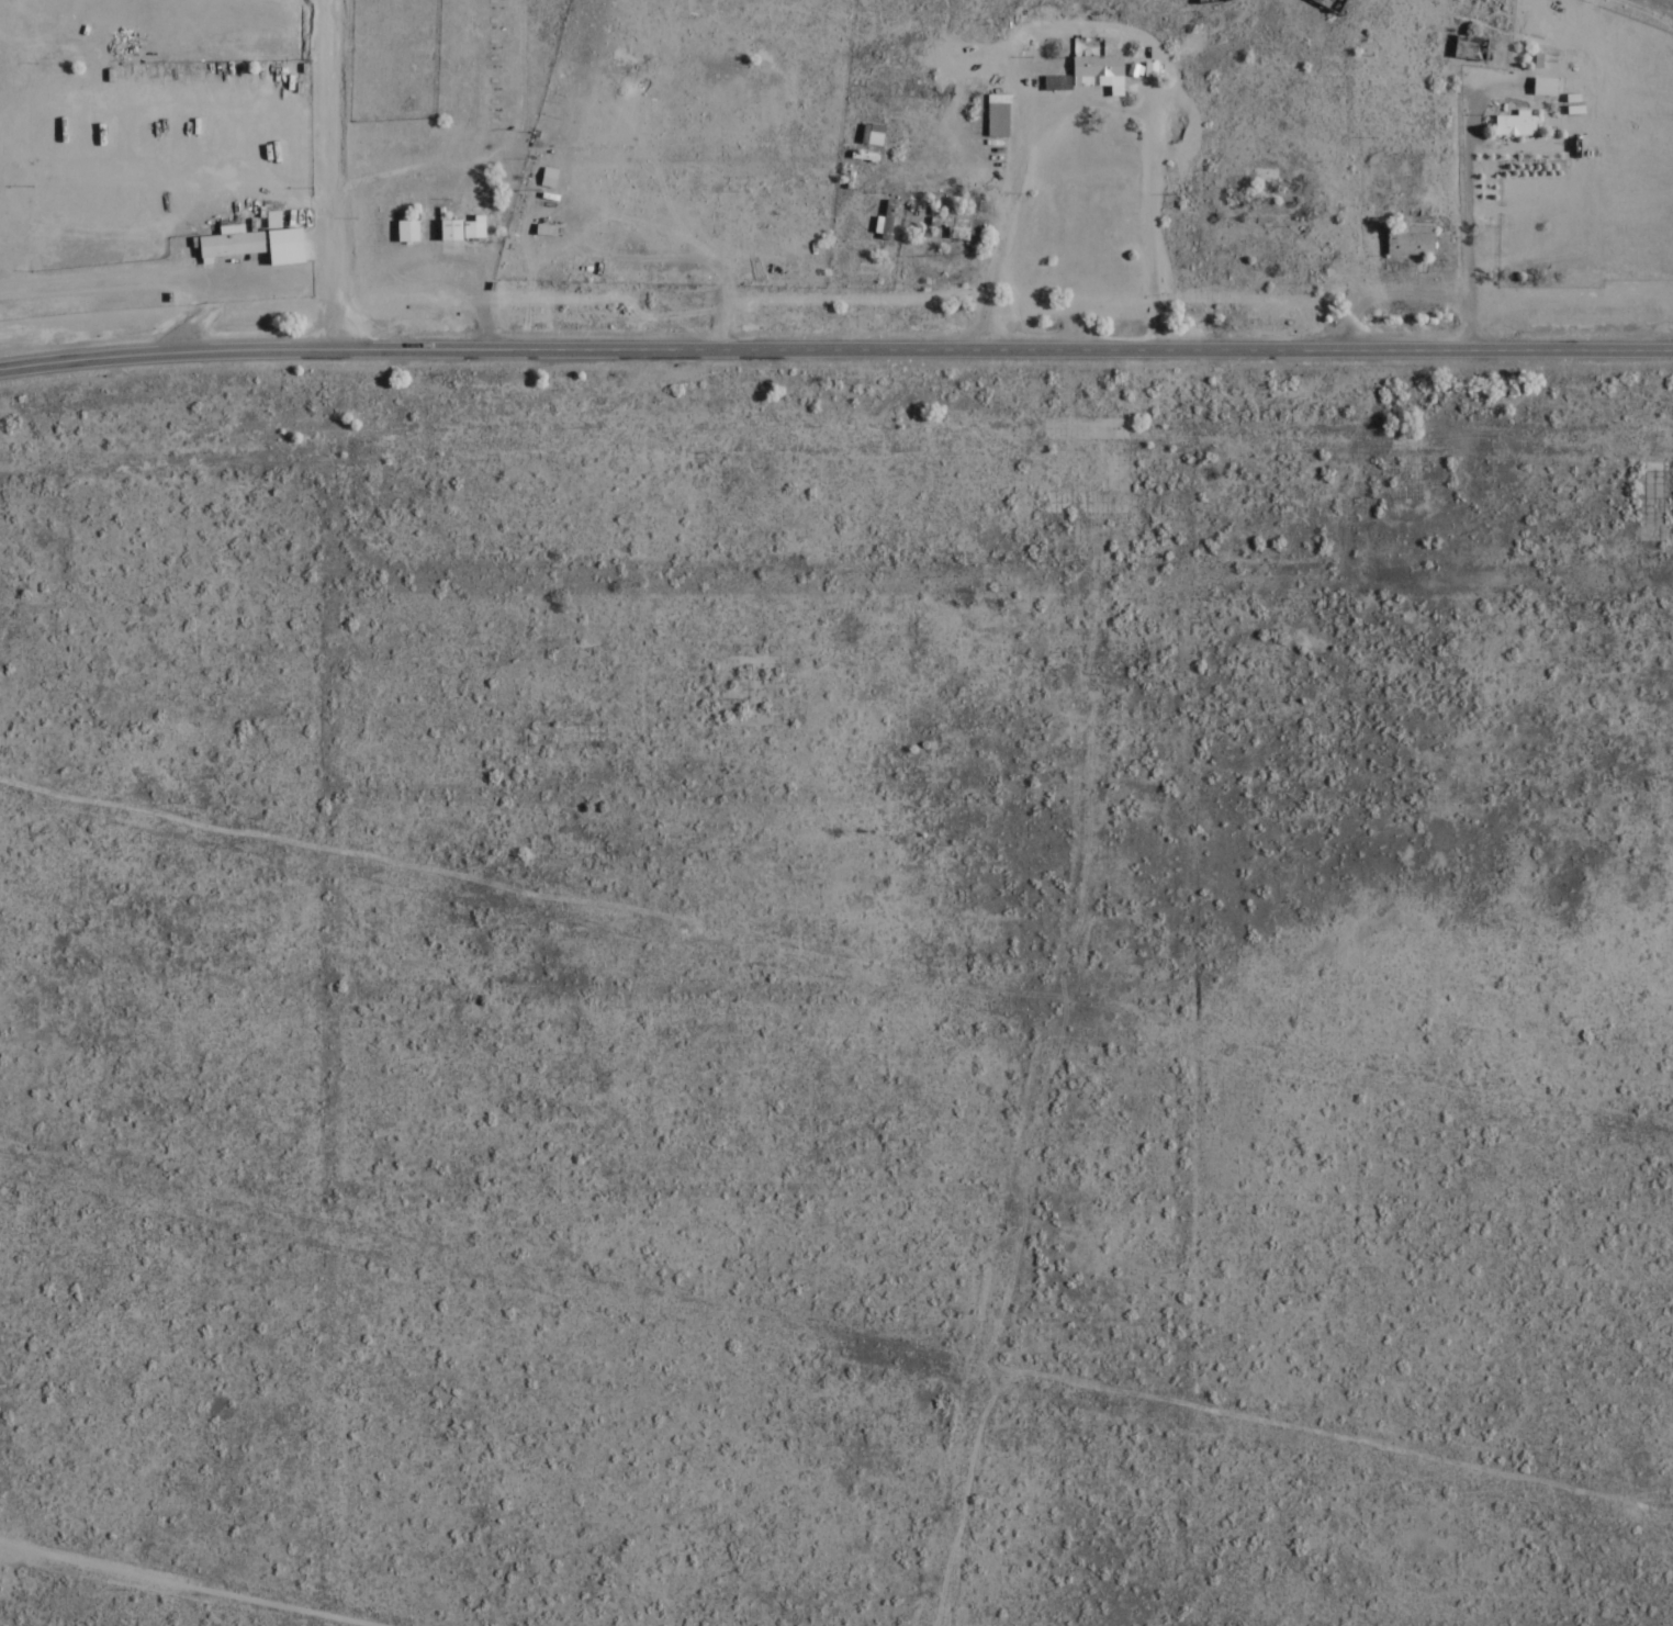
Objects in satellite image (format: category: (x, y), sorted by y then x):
road: (325, 1)
road: (1670, 1)
building: (32, 42)
building: (1088, 72)
building: (1543, 87)
building: (1514, 125)
building: (871, 135)
road: (333, 173)
building: (885, 218)
building: (453, 229)
building: (954, 229)
building: (405, 232)
building: (1410, 239)
building: (231, 243)
road: (166, 278)
road: (835, 349)
road: (190, 1586)

